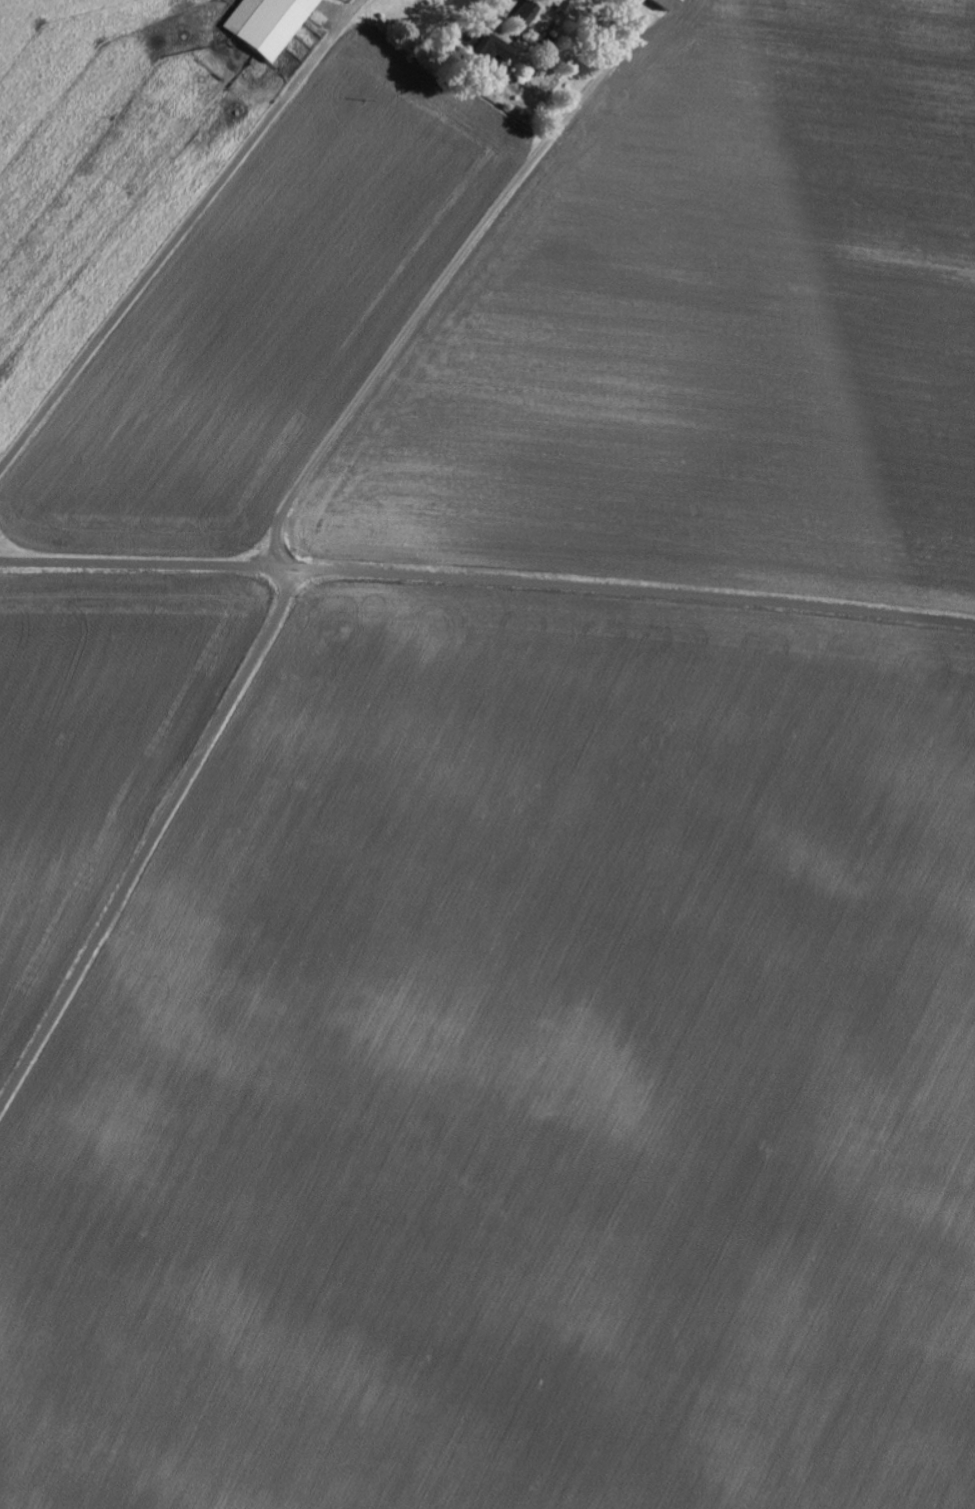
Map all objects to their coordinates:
building: (664, 4)
building: (528, 16)
building: (266, 23)
building: (488, 47)
road: (179, 232)
road: (444, 279)
road: (488, 579)
road: (152, 839)

